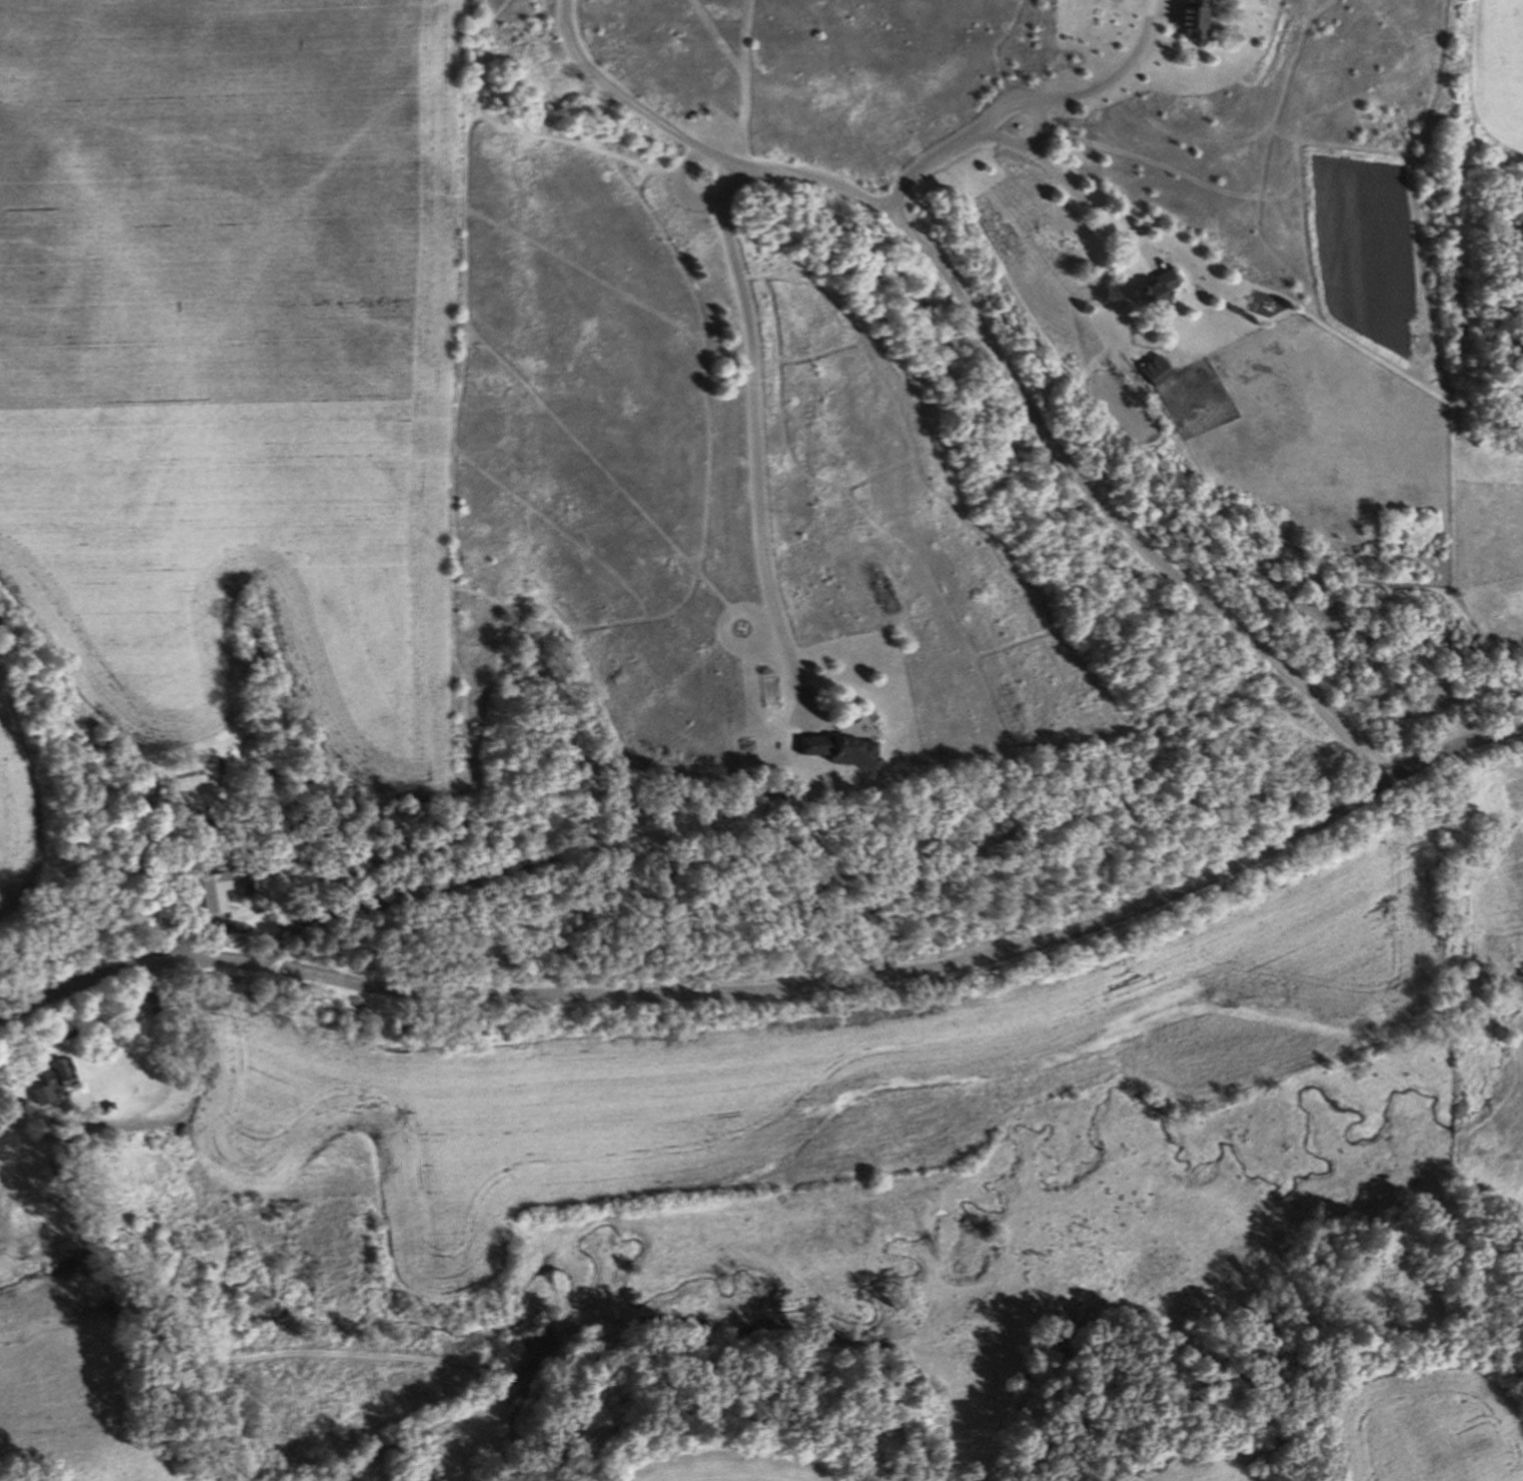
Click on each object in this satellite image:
building: (1199, 23)
road: (1030, 104)
road: (1008, 139)
road: (685, 185)
road: (1081, 193)
building: (1161, 295)
road: (994, 351)
building: (1155, 373)
road: (752, 435)
building: (840, 754)
building: (216, 901)
road: (776, 993)
building: (152, 1004)
building: (62, 1080)
building: (13, 1107)

